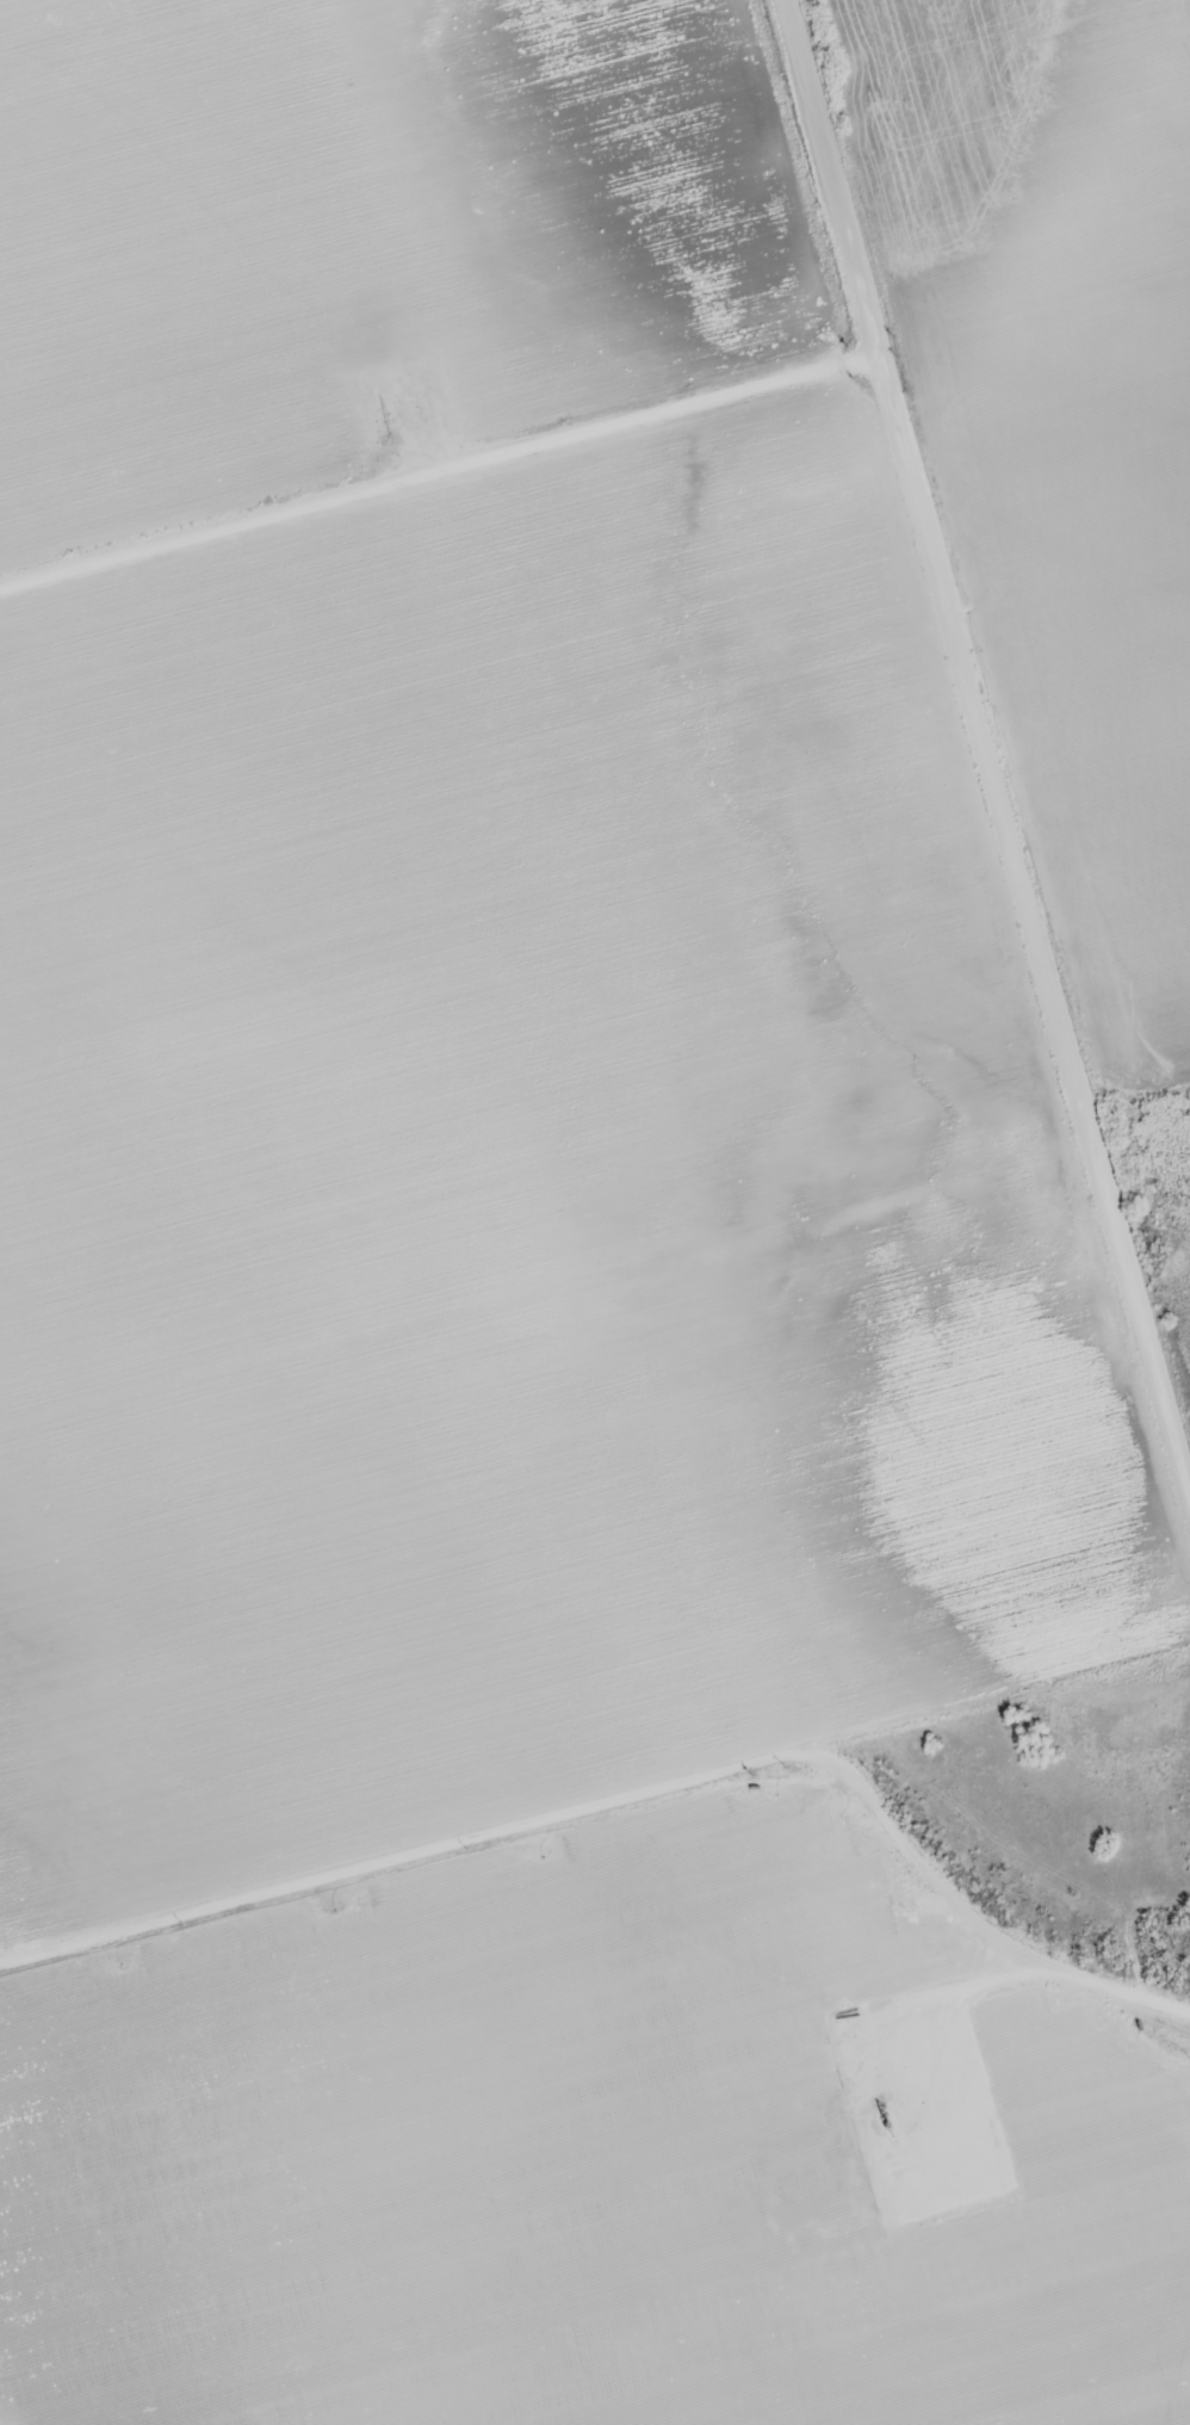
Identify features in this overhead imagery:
road: (439, 466)
road: (988, 781)

